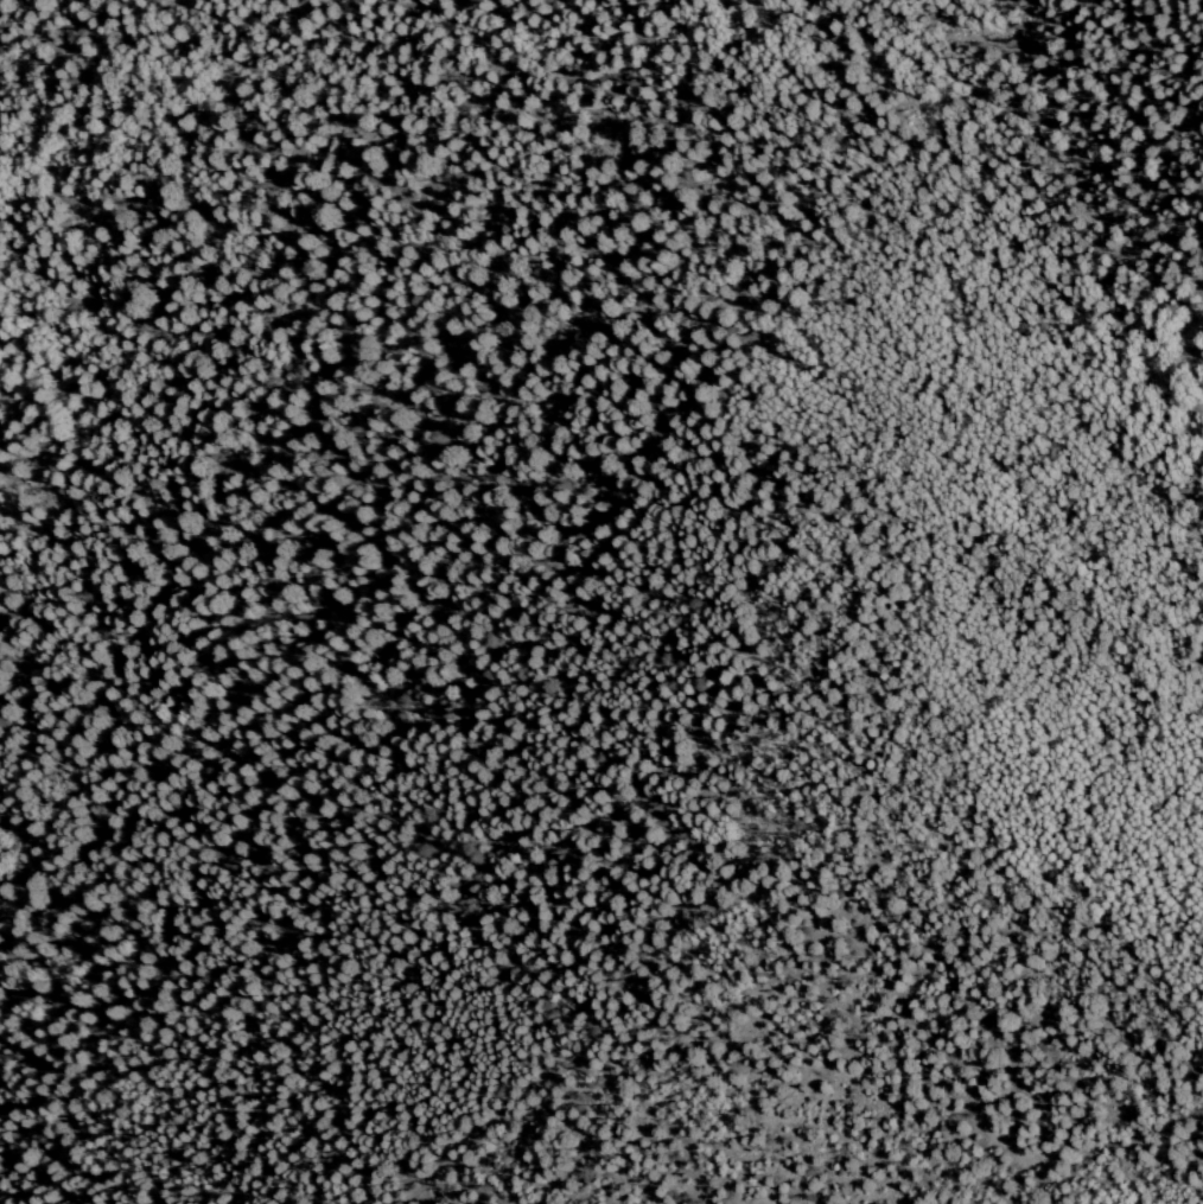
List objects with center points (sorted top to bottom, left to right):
road: (989, 228)

